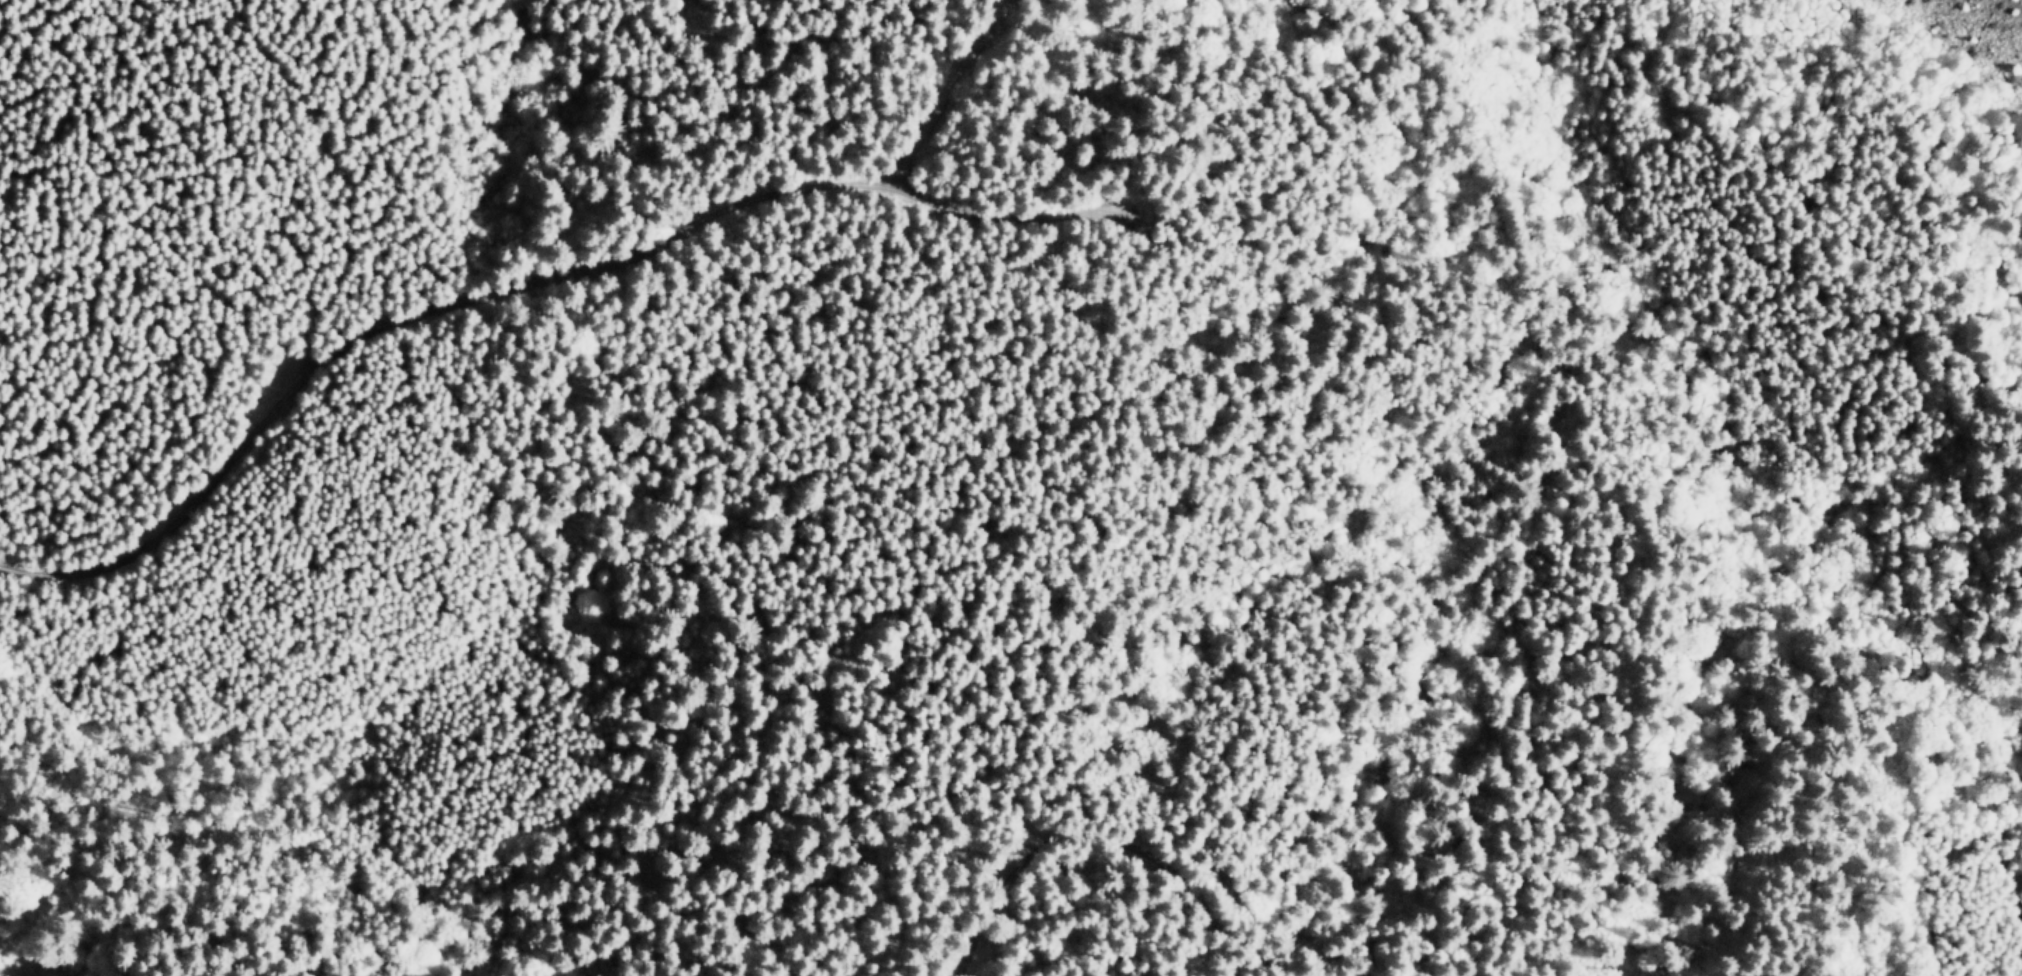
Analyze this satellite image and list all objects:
road: (1120, 847)
road: (1091, 893)

